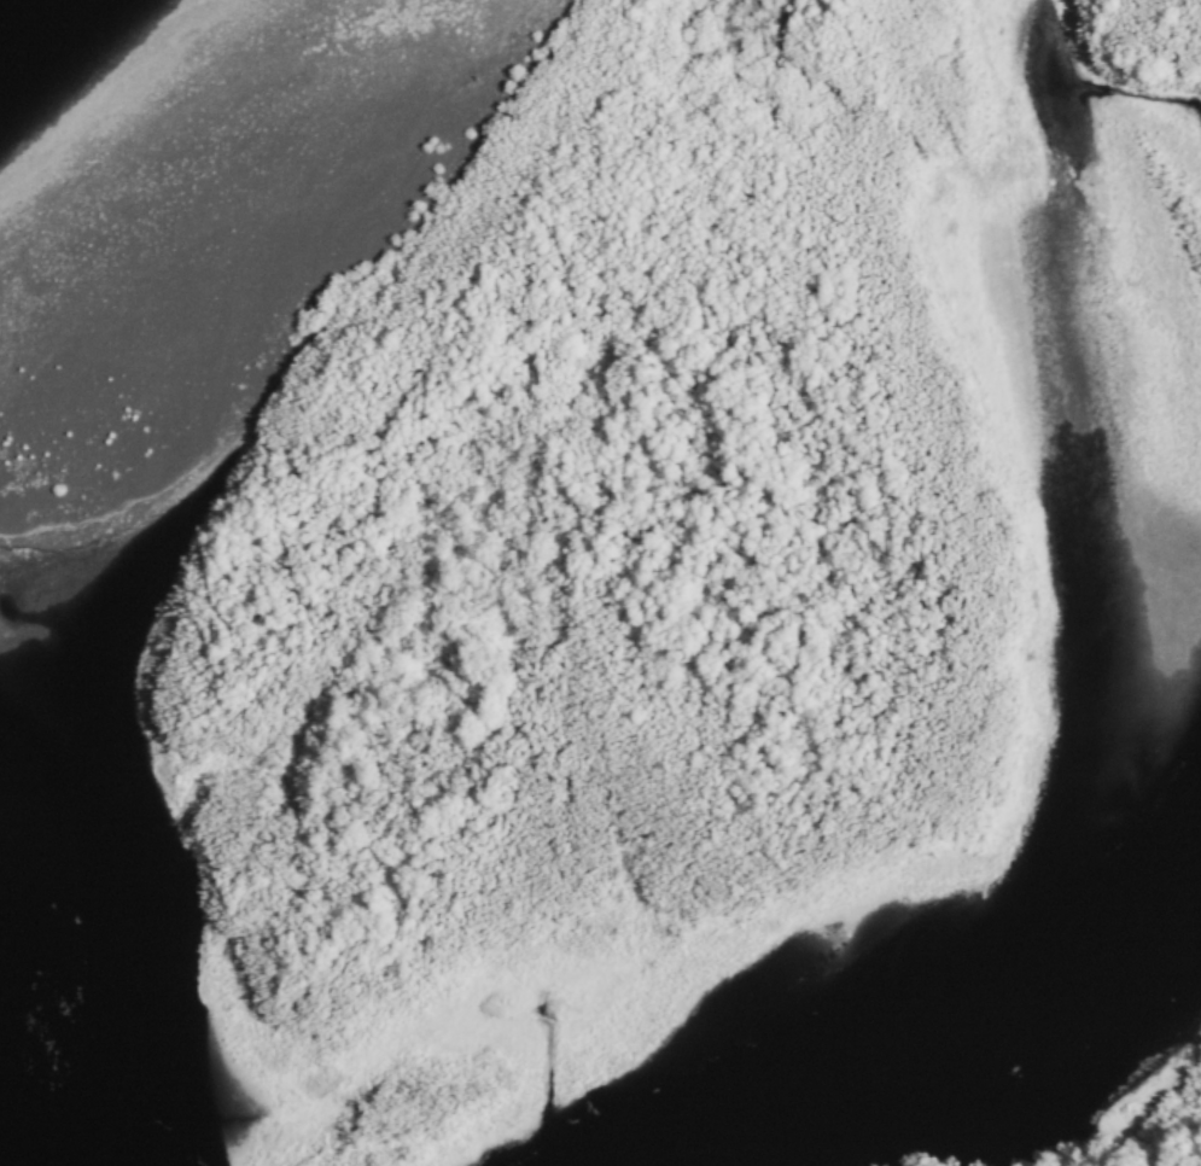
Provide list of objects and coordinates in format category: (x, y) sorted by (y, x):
river: (53, 47)

